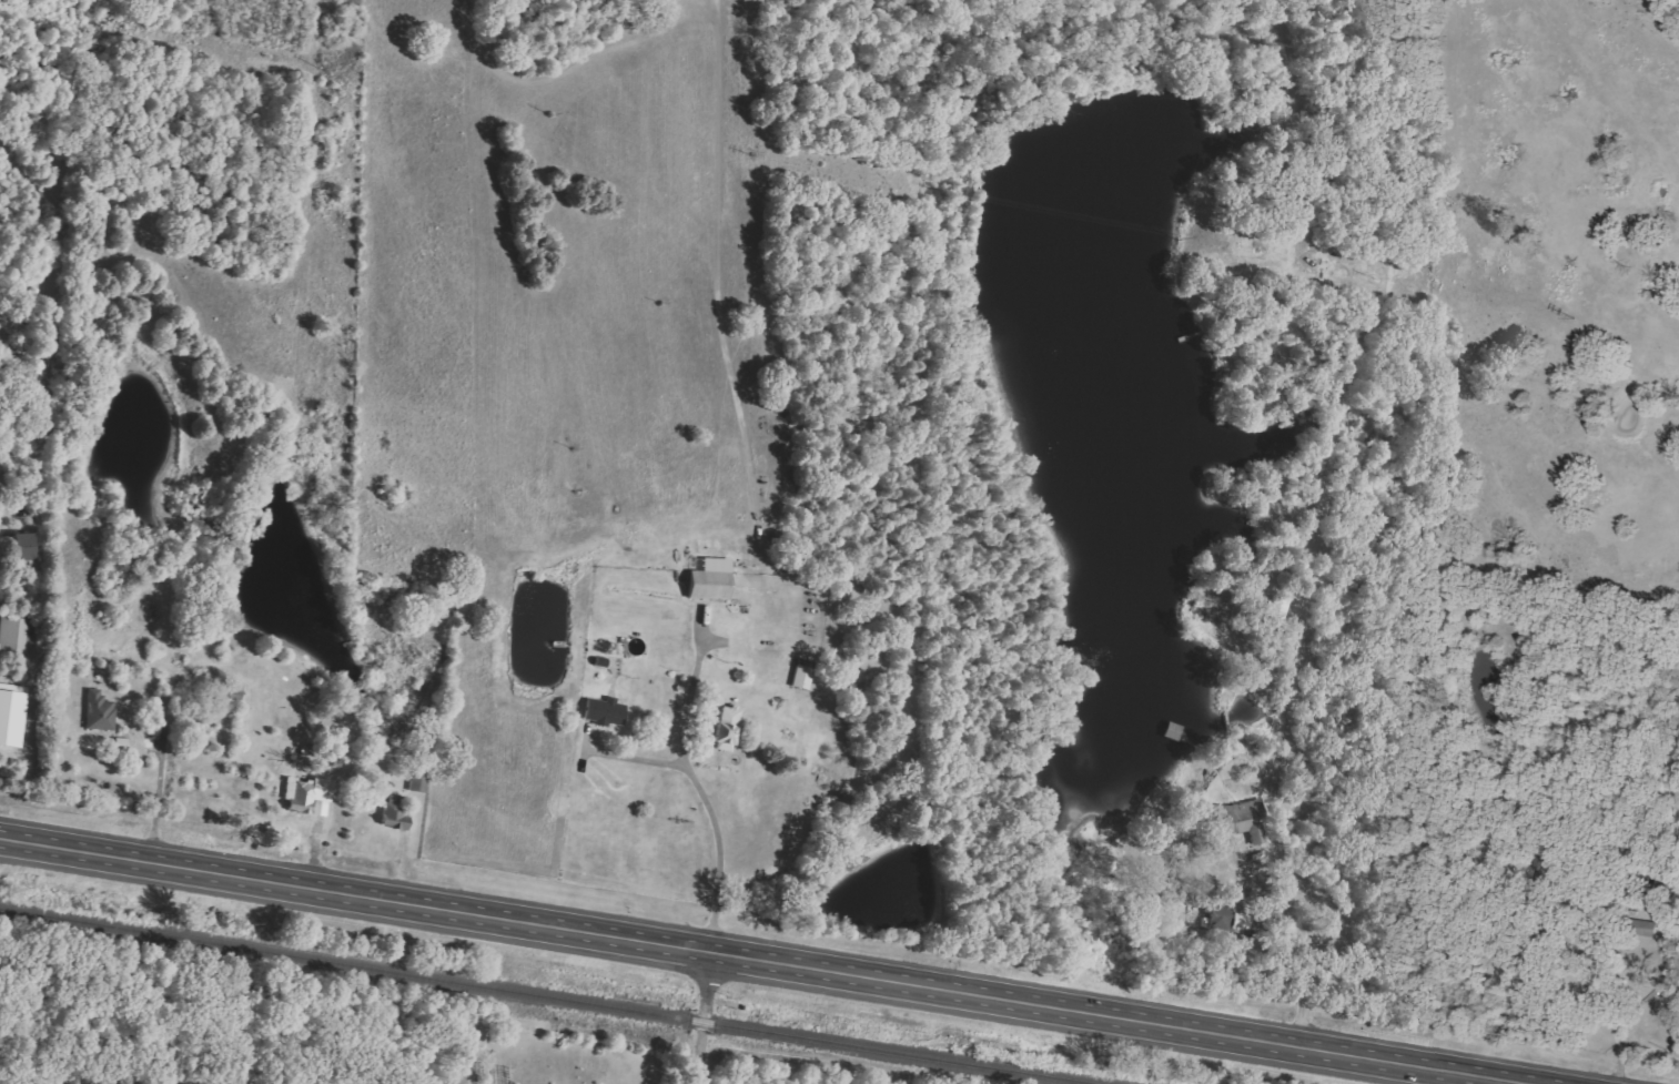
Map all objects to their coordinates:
building: (19, 546)
building: (709, 585)
building: (1278, 611)
building: (13, 632)
building: (802, 677)
road: (692, 699)
building: (101, 711)
building: (605, 711)
building: (12, 715)
building: (728, 728)
building: (421, 781)
building: (309, 796)
road: (155, 802)
road: (709, 811)
building: (396, 813)
building: (1243, 819)
building: (1662, 899)
building: (1242, 921)
road: (785, 953)
railway: (549, 996)
road: (705, 1012)
road: (1616, 1012)

